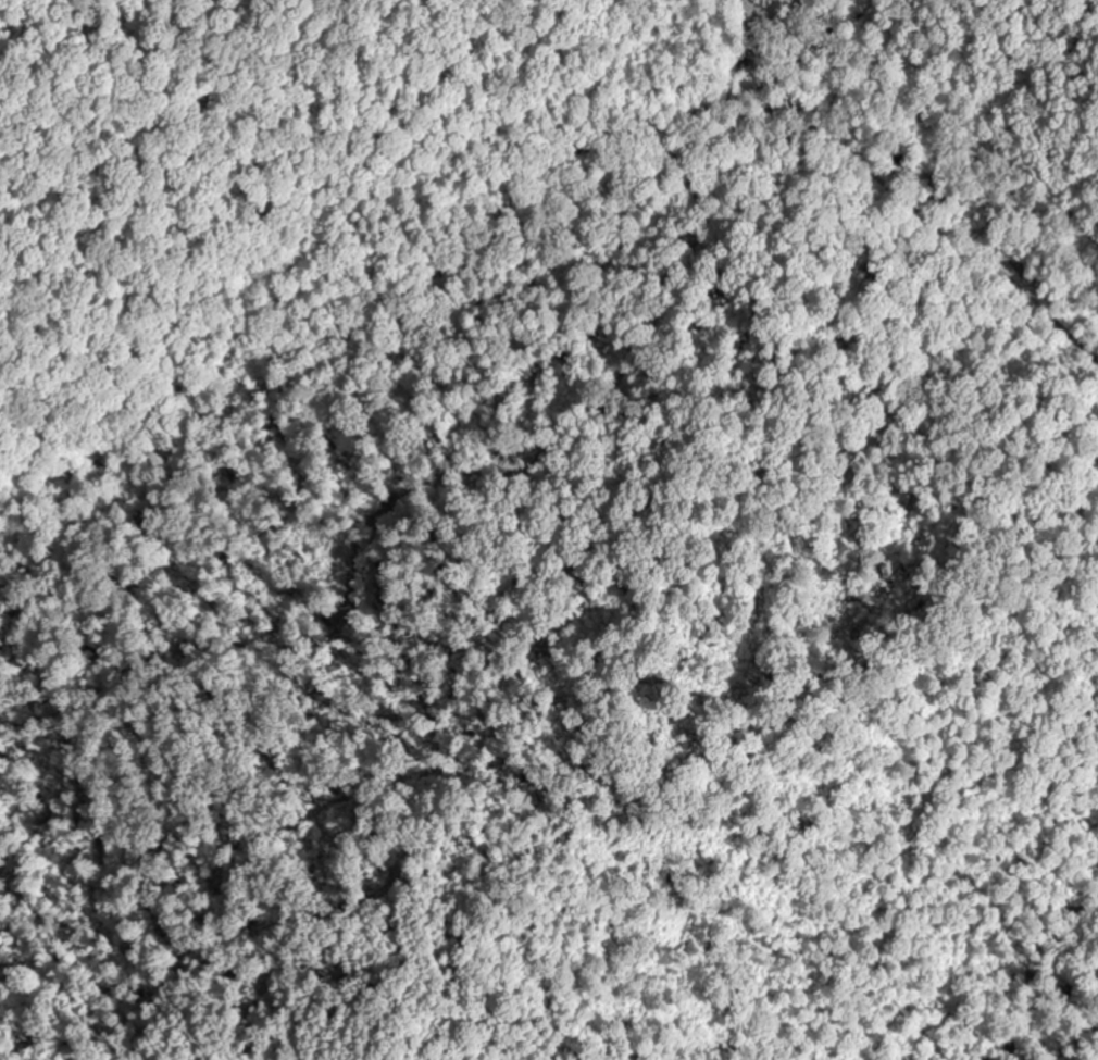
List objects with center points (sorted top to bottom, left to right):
road: (711, 76)
road: (911, 297)
road: (363, 387)

